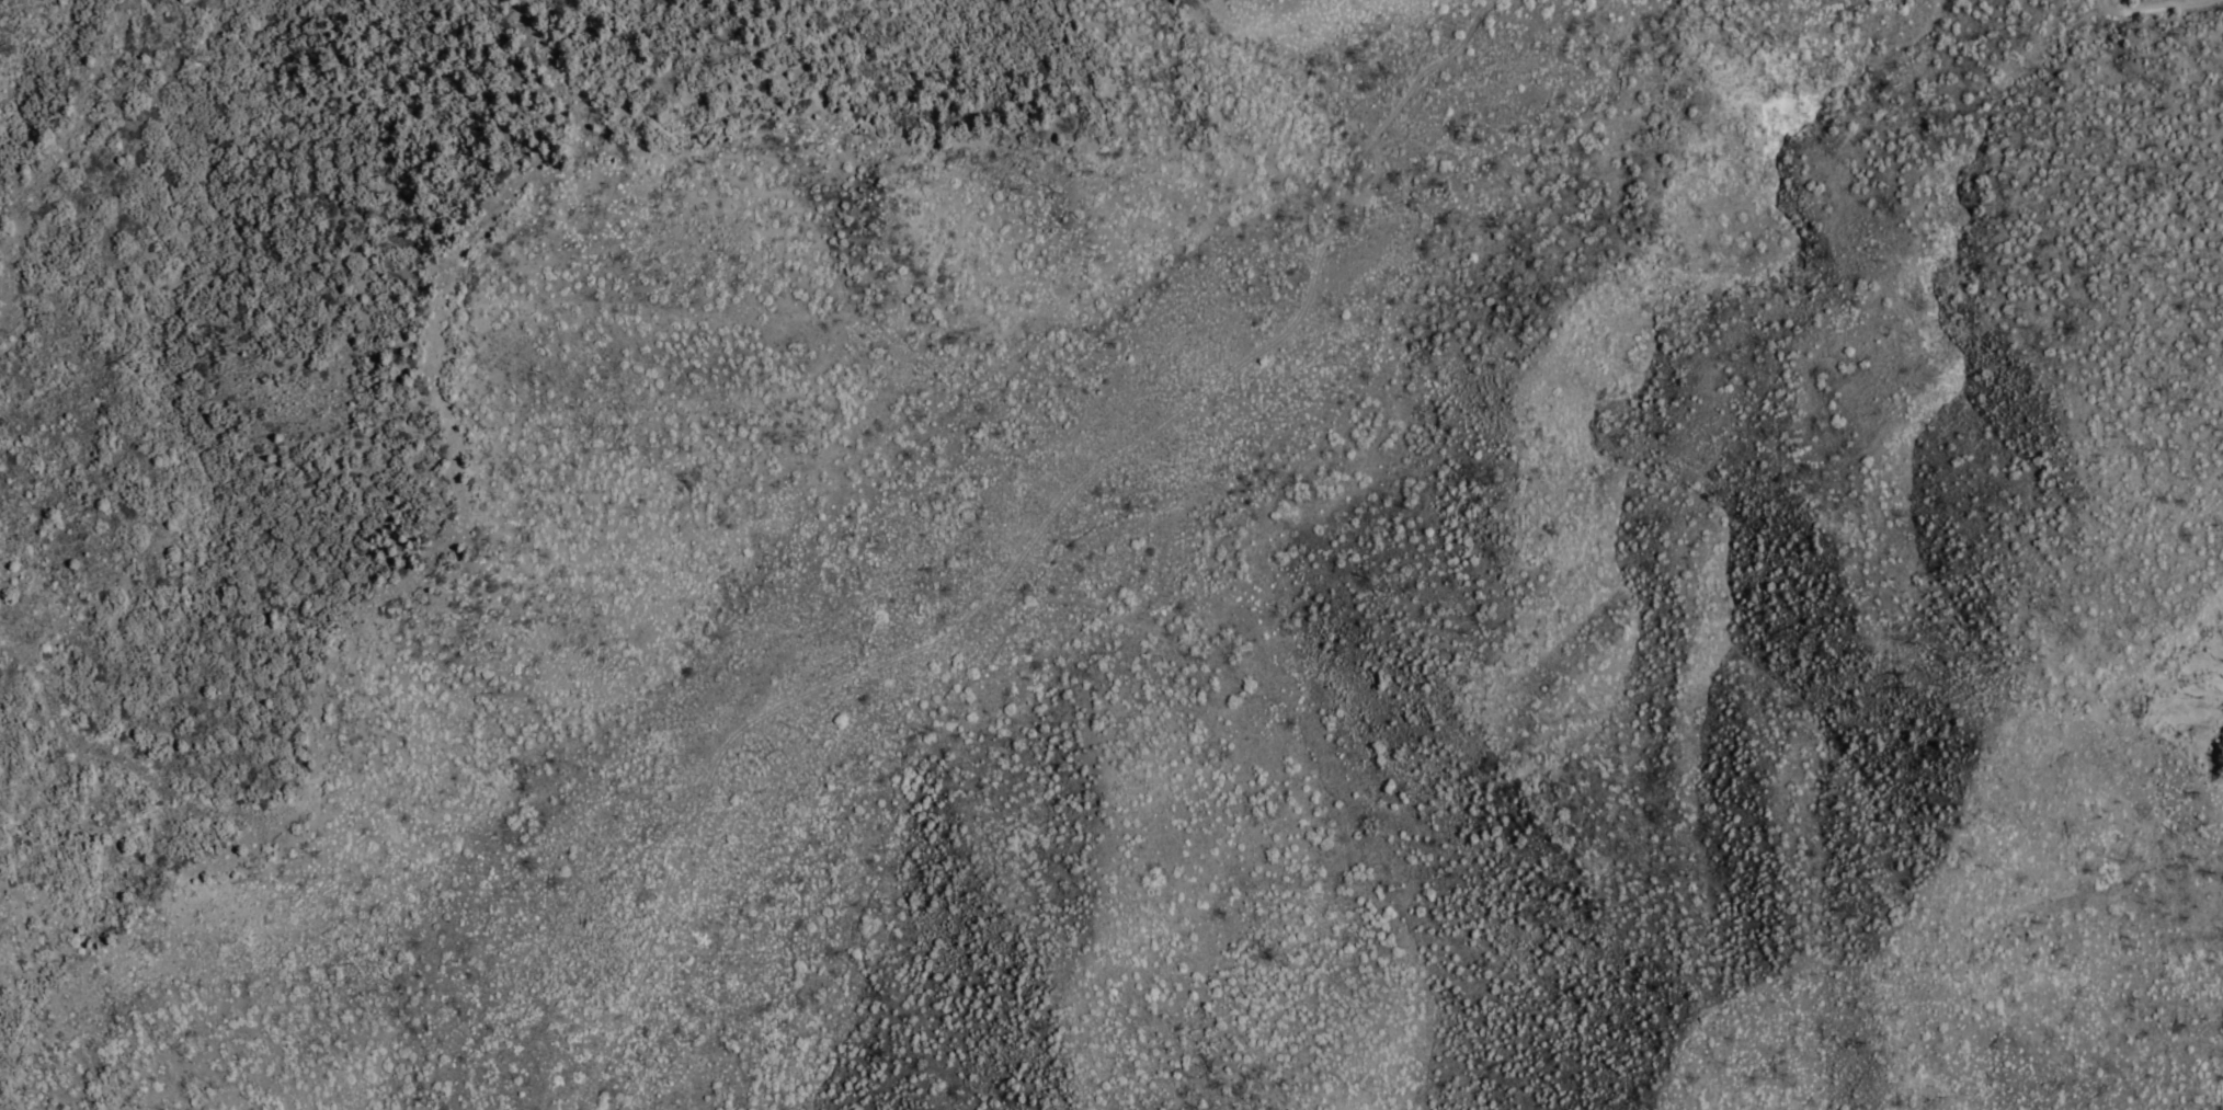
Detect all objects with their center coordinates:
road: (2155, 5)

